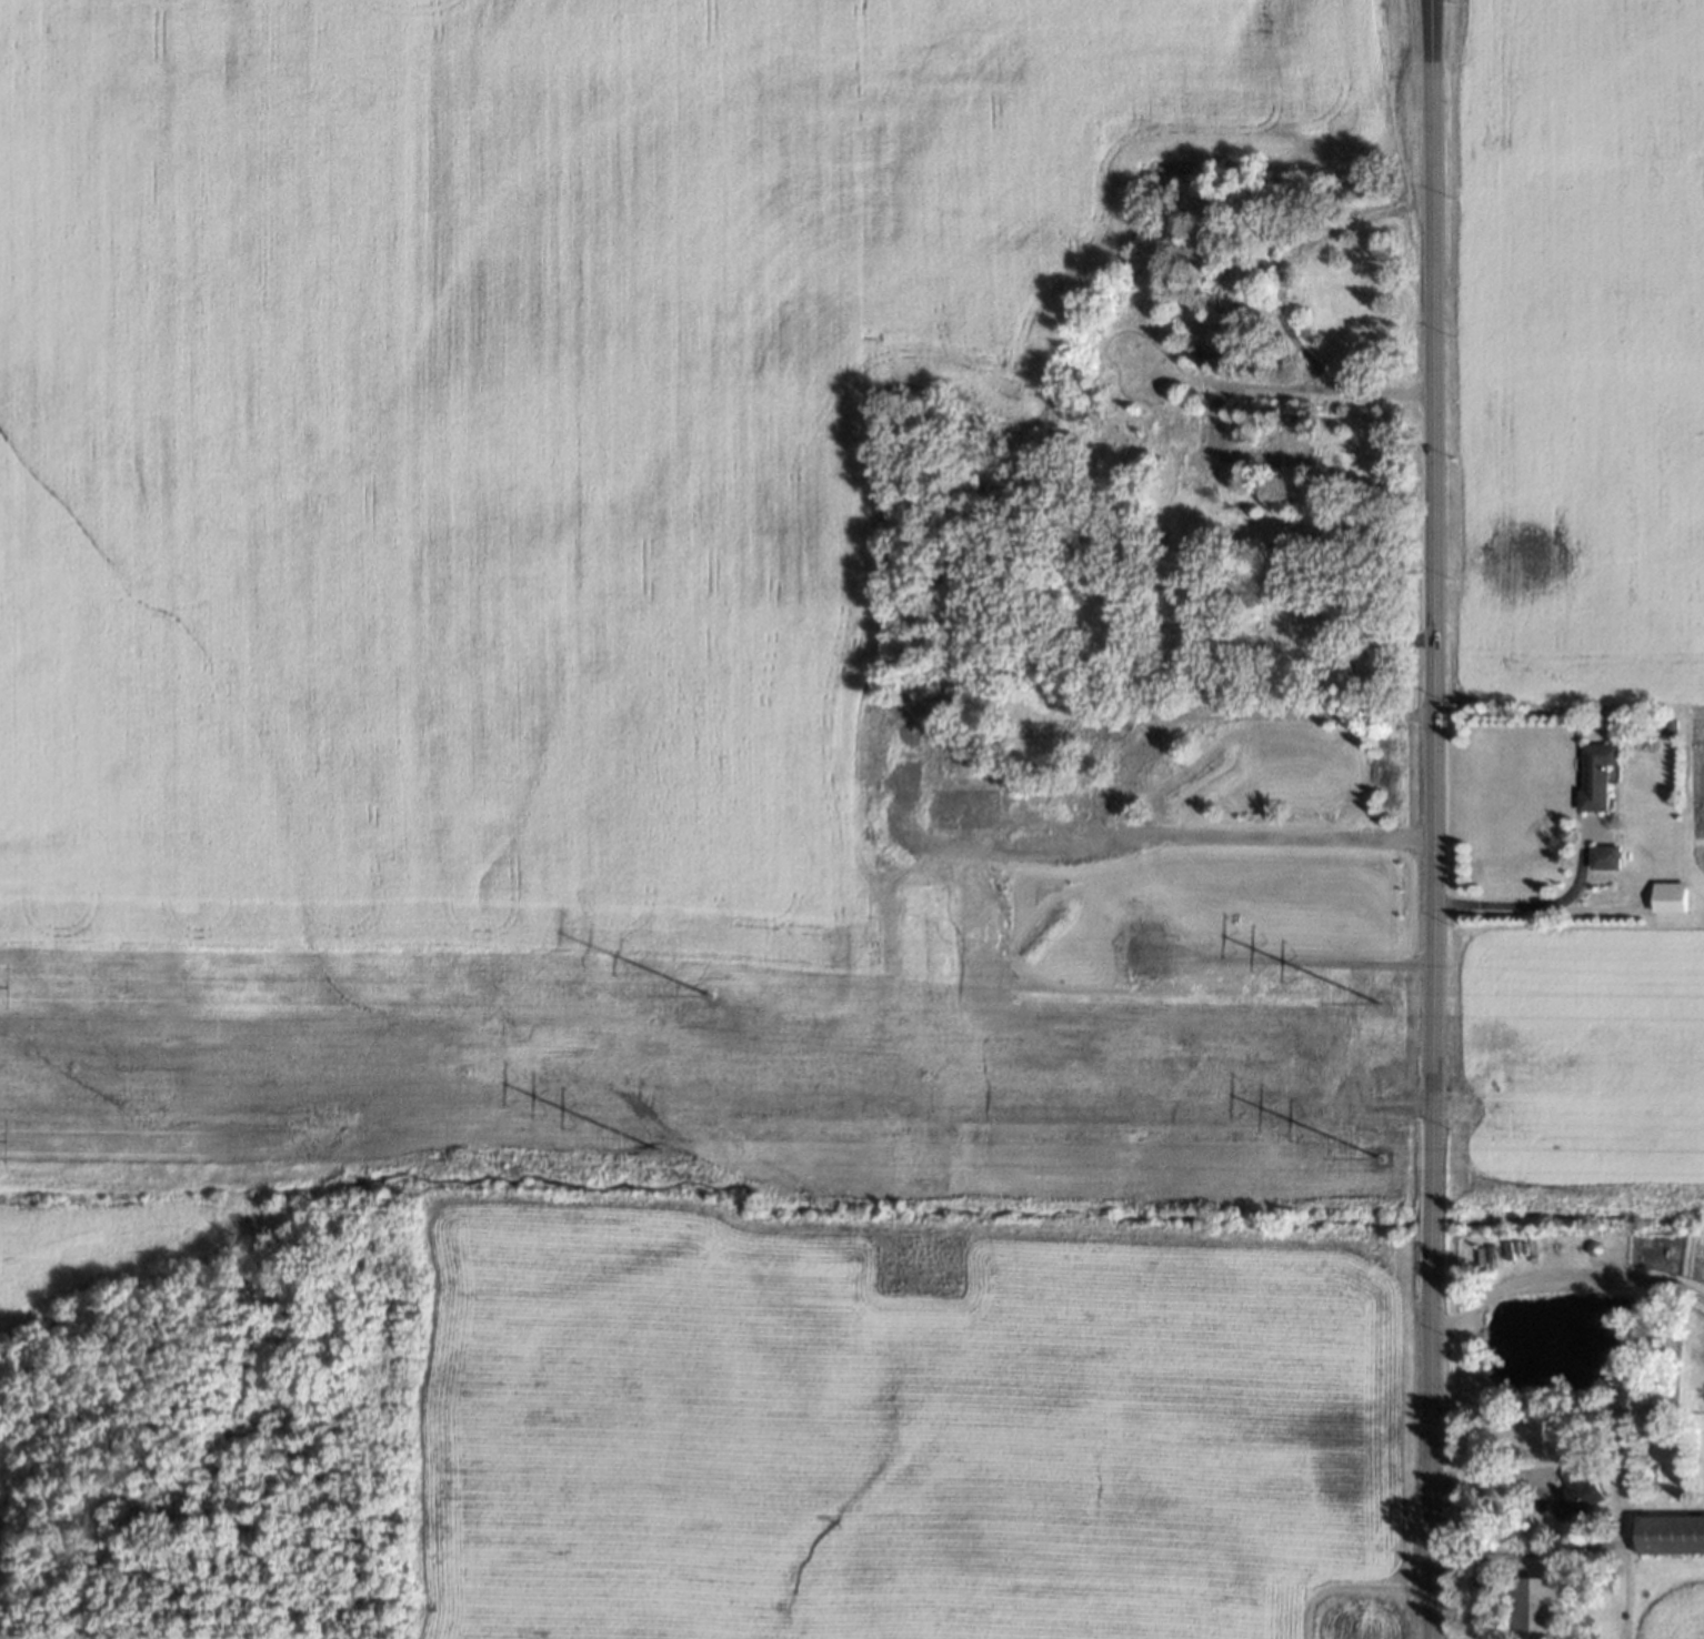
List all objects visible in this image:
road: (1277, 299)
road: (1250, 385)
crop: (530, 433)
road: (1302, 713)
building: (1596, 783)
road: (1426, 819)
road: (1217, 837)
building: (1604, 857)
building: (1668, 897)
road: (1512, 904)
road: (1304, 961)
power tower: (711, 979)
power tower: (1375, 995)
power tower: (663, 1137)
power tower: (1382, 1145)
road: (1572, 1275)
road: (1439, 1325)
road: (1484, 1480)
building: (1577, 1494)
building: (1670, 1535)
building: (1533, 1608)

